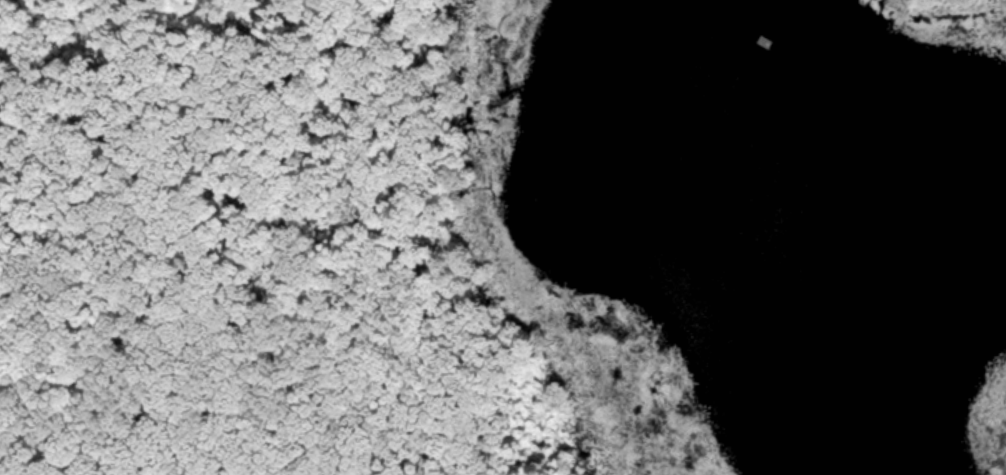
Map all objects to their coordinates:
park: (358, 238)

